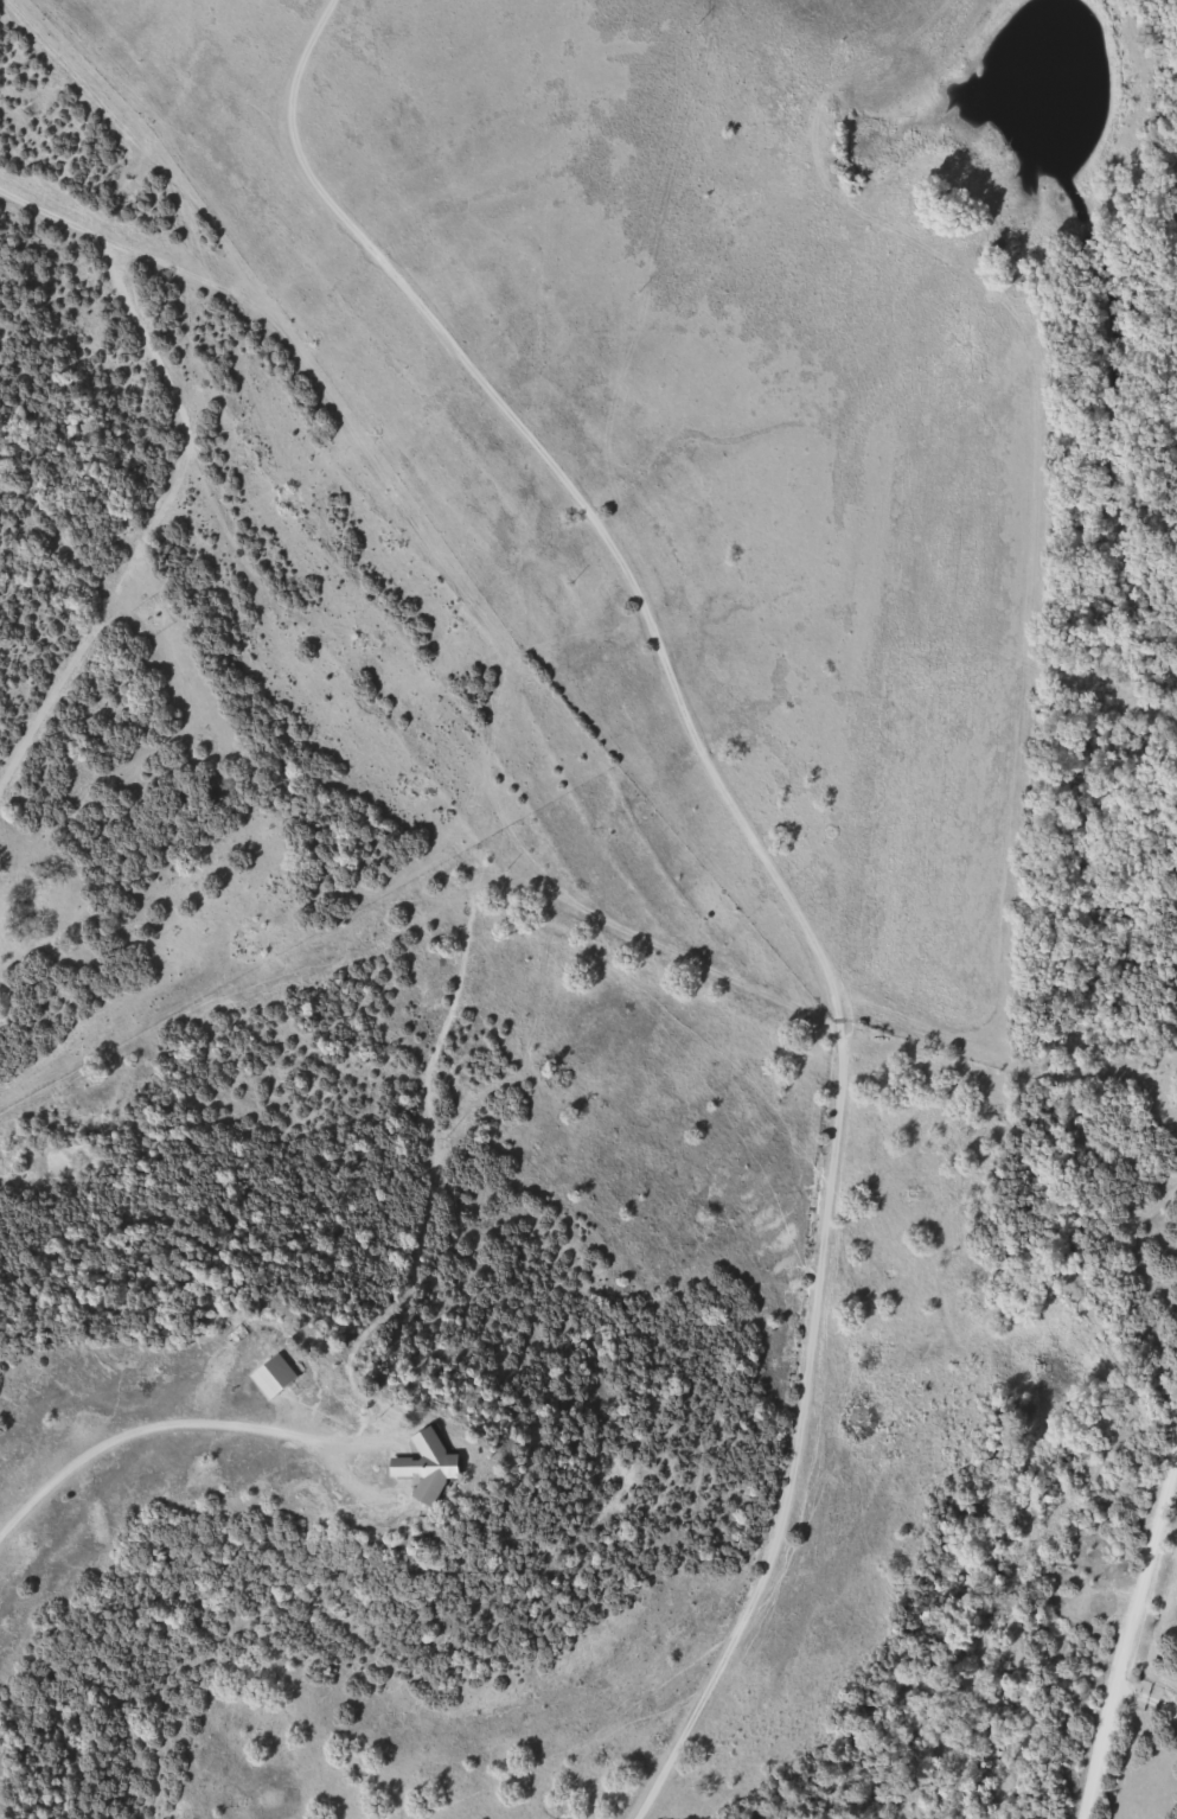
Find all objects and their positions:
road: (772, 859)
building: (275, 1376)
road: (147, 1425)
building: (428, 1466)
road: (1132, 1647)
road: (1150, 1700)

